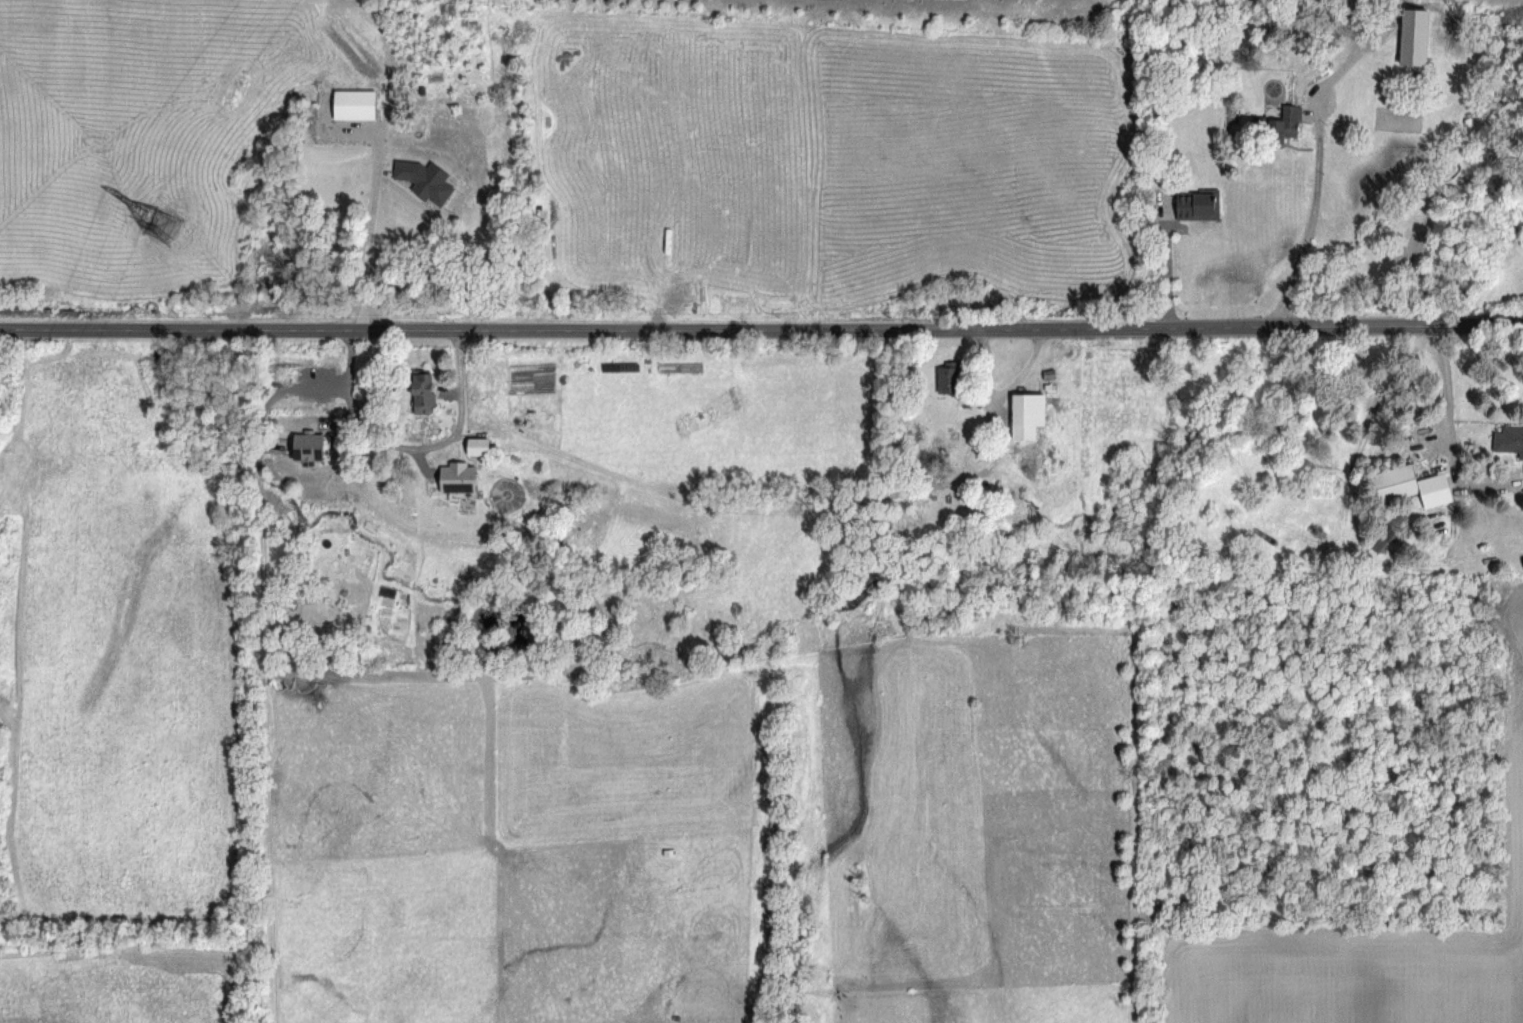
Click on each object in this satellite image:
building: (1414, 36)
building: (354, 103)
building: (1285, 123)
building: (1197, 204)
road: (374, 209)
power tower: (164, 221)
road: (1307, 224)
road: (1163, 262)
road: (761, 326)
building: (423, 392)
road: (1442, 393)
building: (1027, 414)
building: (1509, 439)
building: (478, 445)
road: (406, 448)
building: (458, 479)
building: (1411, 484)
building: (1522, 490)
building: (1386, 529)

